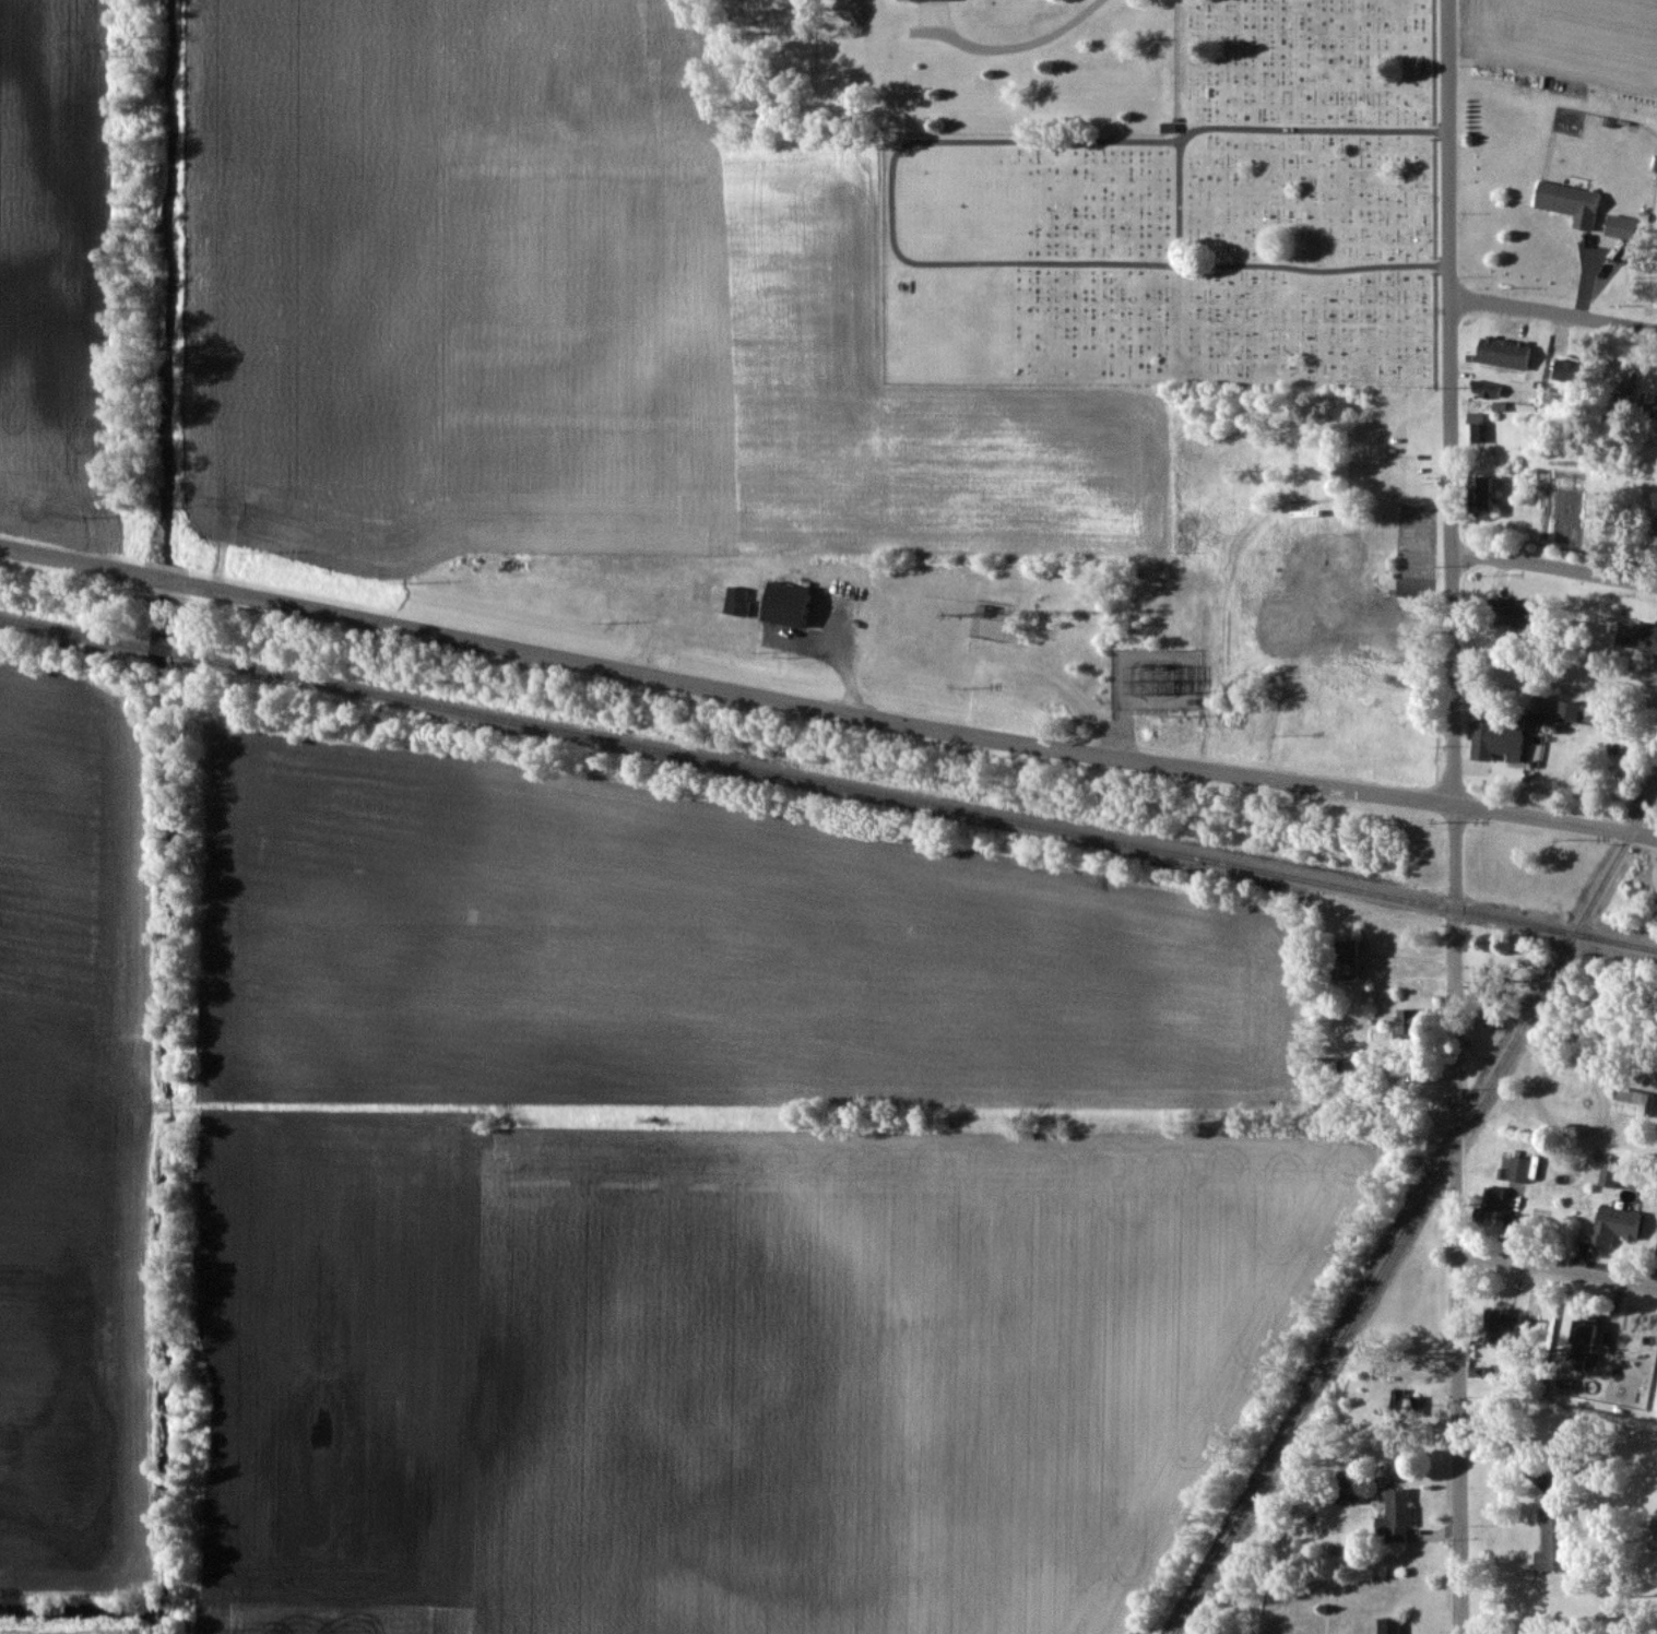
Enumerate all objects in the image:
road: (1009, 46)
building: (1567, 202)
park: (1179, 220)
building: (1619, 226)
road: (1553, 312)
building: (1501, 352)
building: (1565, 370)
building: (1618, 403)
building: (1477, 494)
building: (1598, 505)
building: (1654, 531)
building: (1304, 550)
road: (1555, 567)
building: (783, 604)
building: (1516, 613)
building: (1401, 626)
building: (1642, 636)
road: (837, 652)
road: (725, 687)
building: (1494, 738)
railway: (828, 780)
road: (1455, 816)
road: (1555, 820)
building: (1342, 957)
building: (1407, 1020)
building: (1630, 1101)
road: (1644, 1145)
building: (1517, 1169)
building: (1607, 1172)
building: (1490, 1204)
railway: (1417, 1210)
building: (1611, 1224)
road: (1555, 1266)
building: (1500, 1325)
building: (1581, 1333)
building: (1573, 1360)
building: (1346, 1484)
building: (1394, 1515)
building: (1652, 1535)
building: (1553, 1538)

